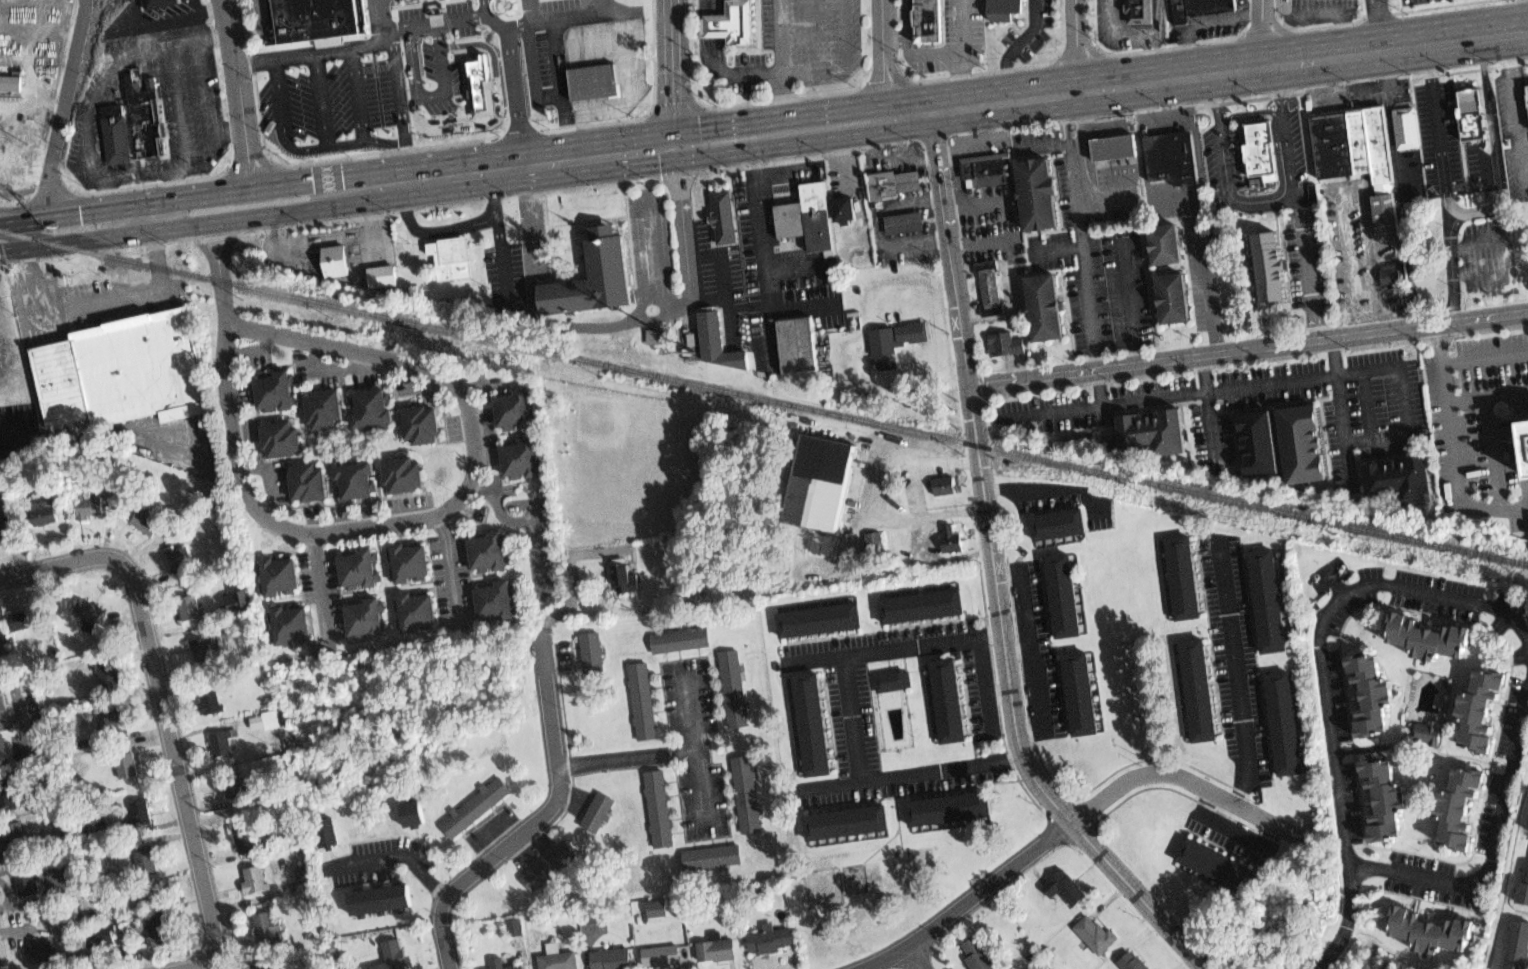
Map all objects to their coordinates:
road: (1308, 0)
building: (155, 3)
building: (1004, 3)
road: (604, 5)
building: (1195, 7)
road: (714, 8)
building: (1140, 9)
road: (532, 11)
road: (205, 13)
building: (311, 15)
road: (178, 16)
road: (455, 16)
building: (934, 16)
road: (1226, 16)
road: (378, 21)
building: (734, 24)
road: (714, 26)
road: (1377, 27)
road: (213, 31)
road: (813, 31)
road: (1266, 35)
road: (897, 36)
road: (1139, 38)
road: (593, 39)
road: (1078, 47)
road: (1017, 49)
road: (914, 51)
road: (969, 53)
road: (418, 55)
road: (884, 59)
road: (1152, 61)
road: (248, 62)
road: (265, 64)
road: (801, 64)
road: (785, 65)
road: (557, 67)
road: (672, 72)
road: (517, 73)
building: (596, 76)
road: (171, 77)
road: (481, 77)
building: (7, 79)
road: (209, 89)
road: (394, 89)
road: (635, 91)
road: (1350, 91)
building: (1527, 92)
road: (358, 94)
building: (429, 94)
road: (323, 98)
road: (239, 101)
road: (1519, 102)
road: (77, 109)
building: (1472, 111)
building: (140, 114)
road: (64, 115)
road: (999, 120)
building: (1408, 122)
road: (970, 124)
road: (1394, 124)
building: (110, 131)
road: (230, 131)
road: (763, 134)
building: (1339, 139)
road: (526, 143)
building: (1376, 143)
building: (1255, 144)
road: (1044, 145)
building: (1112, 145)
traffic signals: (674, 146)
road: (952, 148)
building: (1172, 150)
road: (902, 151)
building: (31, 162)
road: (1223, 169)
building: (987, 170)
road: (857, 177)
building: (893, 179)
road: (1351, 184)
building: (1036, 188)
road: (1106, 194)
road: (977, 200)
road: (1297, 203)
building: (842, 205)
road: (21, 209)
building: (724, 209)
building: (803, 212)
building: (1386, 213)
road: (1476, 213)
road: (530, 221)
building: (902, 221)
road: (373, 224)
road: (432, 230)
road: (1081, 231)
road: (498, 236)
building: (1163, 236)
road: (917, 239)
road: (983, 240)
road: (759, 241)
road: (1057, 249)
road: (273, 252)
road: (1513, 252)
building: (446, 255)
building: (336, 261)
building: (1265, 261)
road: (1452, 263)
road: (791, 265)
road: (217, 267)
road: (1203, 268)
building: (1394, 270)
road: (726, 271)
building: (594, 273)
building: (381, 275)
building: (990, 287)
road: (688, 288)
building: (1170, 291)
road: (146, 293)
road: (930, 297)
building: (1042, 299)
road: (1129, 299)
road: (943, 301)
road: (749, 305)
road: (1010, 316)
road: (624, 324)
building: (895, 331)
building: (655, 336)
building: (720, 340)
building: (1005, 341)
building: (801, 345)
road: (1247, 347)
road: (950, 352)
building: (888, 356)
road: (1485, 356)
building: (887, 363)
road: (1378, 370)
building: (115, 371)
road: (1202, 373)
building: (273, 383)
road: (1098, 386)
road: (1249, 387)
road: (1488, 395)
railway: (763, 396)
building: (512, 402)
building: (372, 403)
road: (1103, 403)
building: (323, 404)
road: (1339, 410)
parking lot: (1051, 416)
building: (423, 420)
building: (1525, 427)
building: (1148, 430)
road: (14, 435)
building: (280, 435)
road: (1376, 438)
building: (1256, 442)
building: (1300, 442)
road: (1454, 444)
road: (1494, 452)
building: (522, 456)
road: (902, 463)
road: (1522, 466)
building: (405, 473)
building: (1398, 478)
building: (356, 479)
building: (306, 485)
building: (945, 485)
building: (823, 486)
road: (1043, 487)
road: (249, 498)
building: (89, 509)
building: (43, 512)
road: (529, 516)
building: (144, 522)
building: (1057, 523)
building: (5, 530)
building: (952, 539)
building: (873, 543)
building: (486, 552)
building: (180, 554)
building: (409, 557)
building: (359, 565)
road: (451, 566)
building: (1184, 571)
building: (279, 572)
road: (994, 574)
building: (629, 575)
road: (319, 583)
building: (1066, 597)
building: (1269, 597)
building: (239, 600)
building: (495, 600)
building: (926, 605)
building: (87, 609)
building: (189, 609)
building: (416, 610)
building: (366, 616)
building: (24, 617)
building: (820, 620)
building: (289, 623)
building: (0, 624)
building: (1428, 636)
building: (679, 639)
road: (1018, 647)
building: (595, 648)
road: (1032, 648)
building: (201, 650)
road: (858, 654)
road: (818, 660)
building: (107, 672)
road: (1235, 674)
building: (895, 678)
road: (986, 684)
building: (738, 685)
building: (1200, 688)
building: (1372, 694)
building: (1083, 695)
building: (210, 699)
building: (643, 699)
building: (2, 700)
building: (949, 702)
road: (165, 712)
building: (1480, 712)
road: (13, 719)
building: (113, 720)
building: (264, 720)
building: (815, 721)
road: (27, 724)
building: (1283, 724)
building: (1429, 732)
building: (221, 744)
road: (695, 747)
building: (2, 749)
road: (628, 756)
building: (126, 763)
road: (917, 775)
road: (560, 776)
building: (233, 784)
building: (749, 793)
building: (5, 796)
building: (1385, 802)
building: (478, 806)
building: (661, 808)
building: (1463, 808)
road: (244, 809)
building: (951, 810)
road: (1496, 811)
building: (413, 813)
building: (139, 814)
building: (599, 814)
road: (1077, 818)
building: (848, 825)
road: (1234, 831)
building: (13, 832)
building: (329, 833)
building: (245, 840)
road: (394, 856)
building: (711, 856)
building: (146, 859)
building: (545, 862)
building: (1218, 866)
building: (304, 876)
building: (26, 881)
building: (254, 883)
building: (1064, 885)
building: (1523, 888)
building: (382, 897)
building: (656, 908)
road: (1349, 912)
building: (159, 918)
building: (514, 926)
building: (267, 927)
building: (1097, 931)
building: (1428, 933)
building: (98, 934)
building: (770, 940)
building: (1517, 946)
building: (718, 951)
building: (43, 952)
building: (661, 955)
building: (978, 955)
building: (394, 958)
road: (913, 958)
road: (1317, 958)
building: (614, 959)
building: (557, 961)
building: (1133, 962)
building: (256, 963)
road: (1331, 963)
building: (517, 968)

